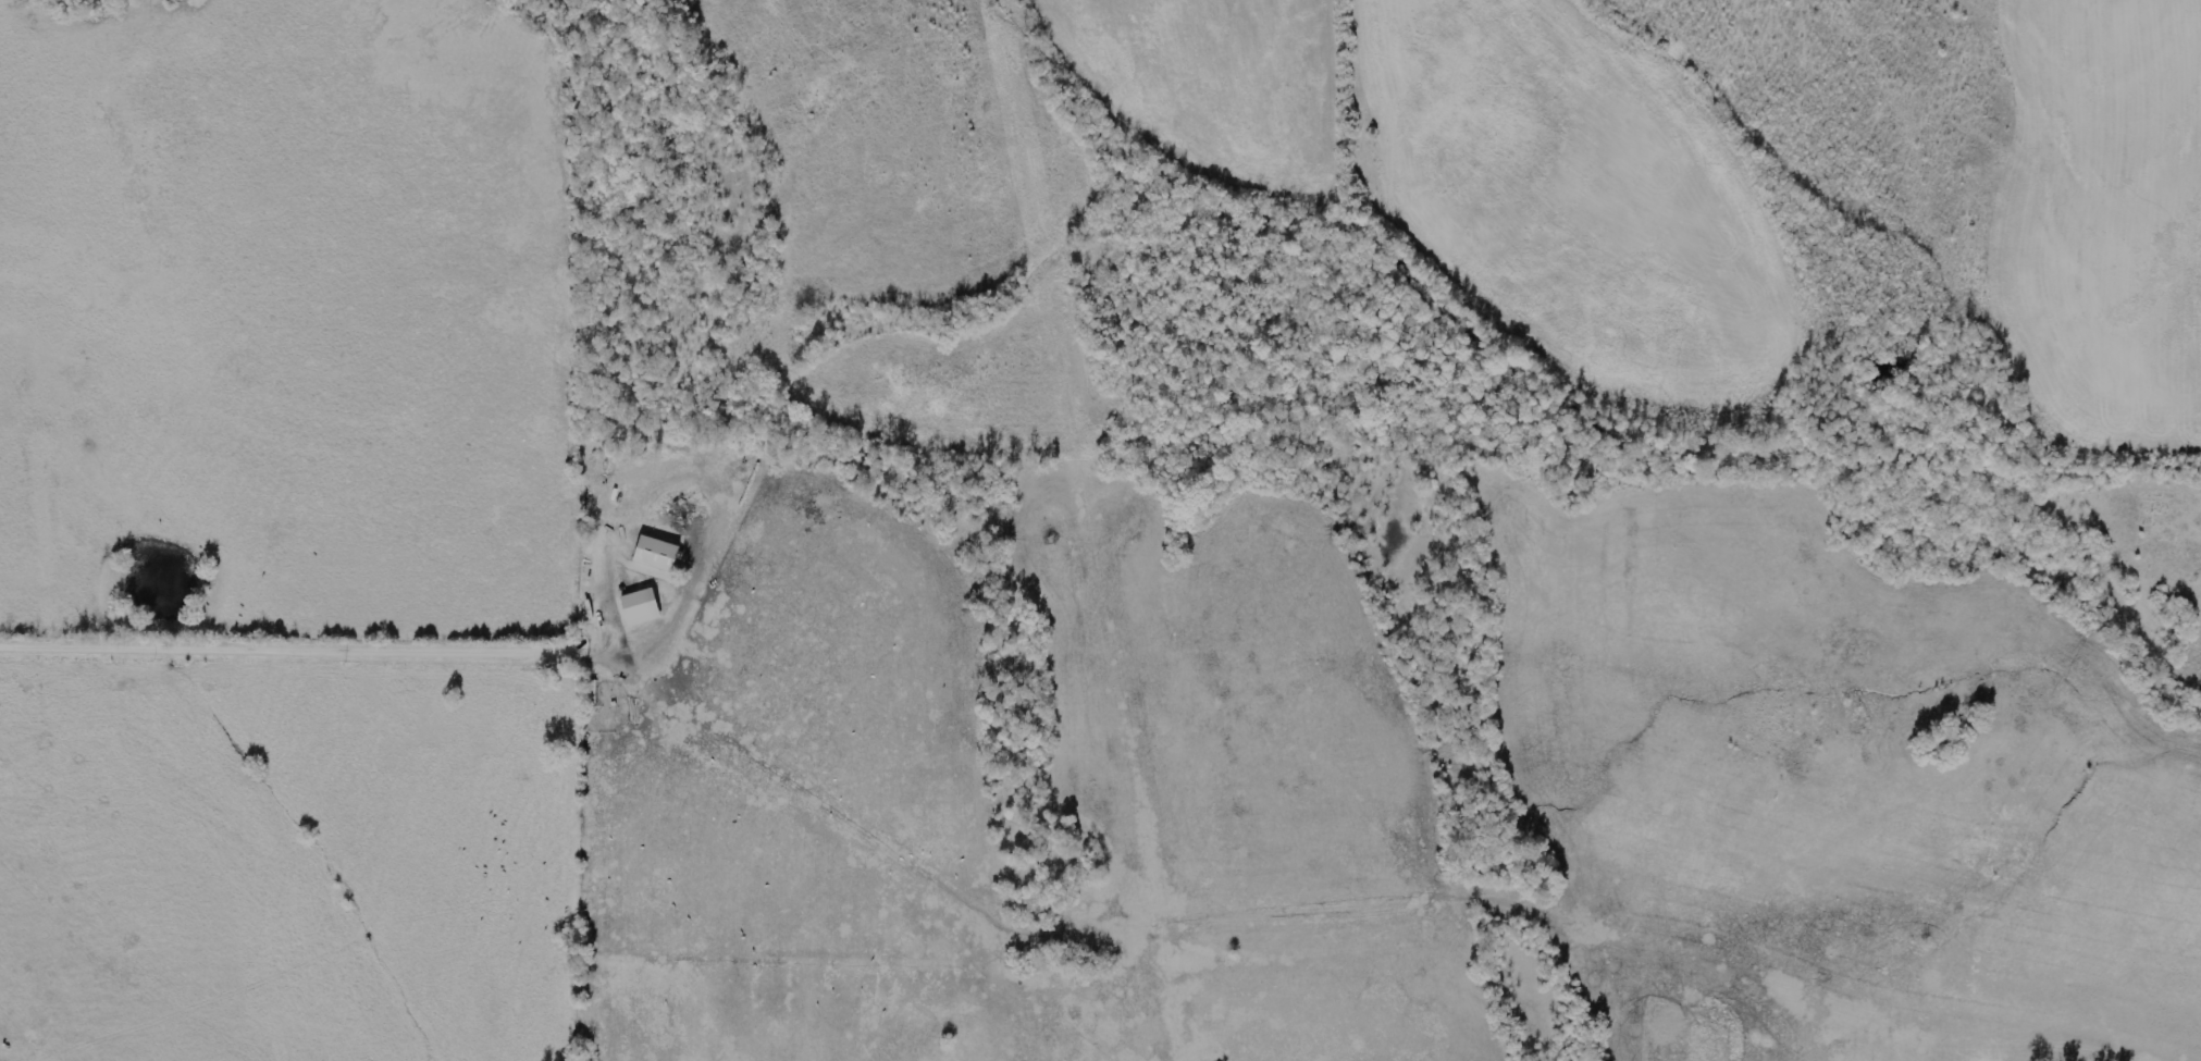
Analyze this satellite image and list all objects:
building: (658, 554)
building: (643, 607)
road: (298, 645)

